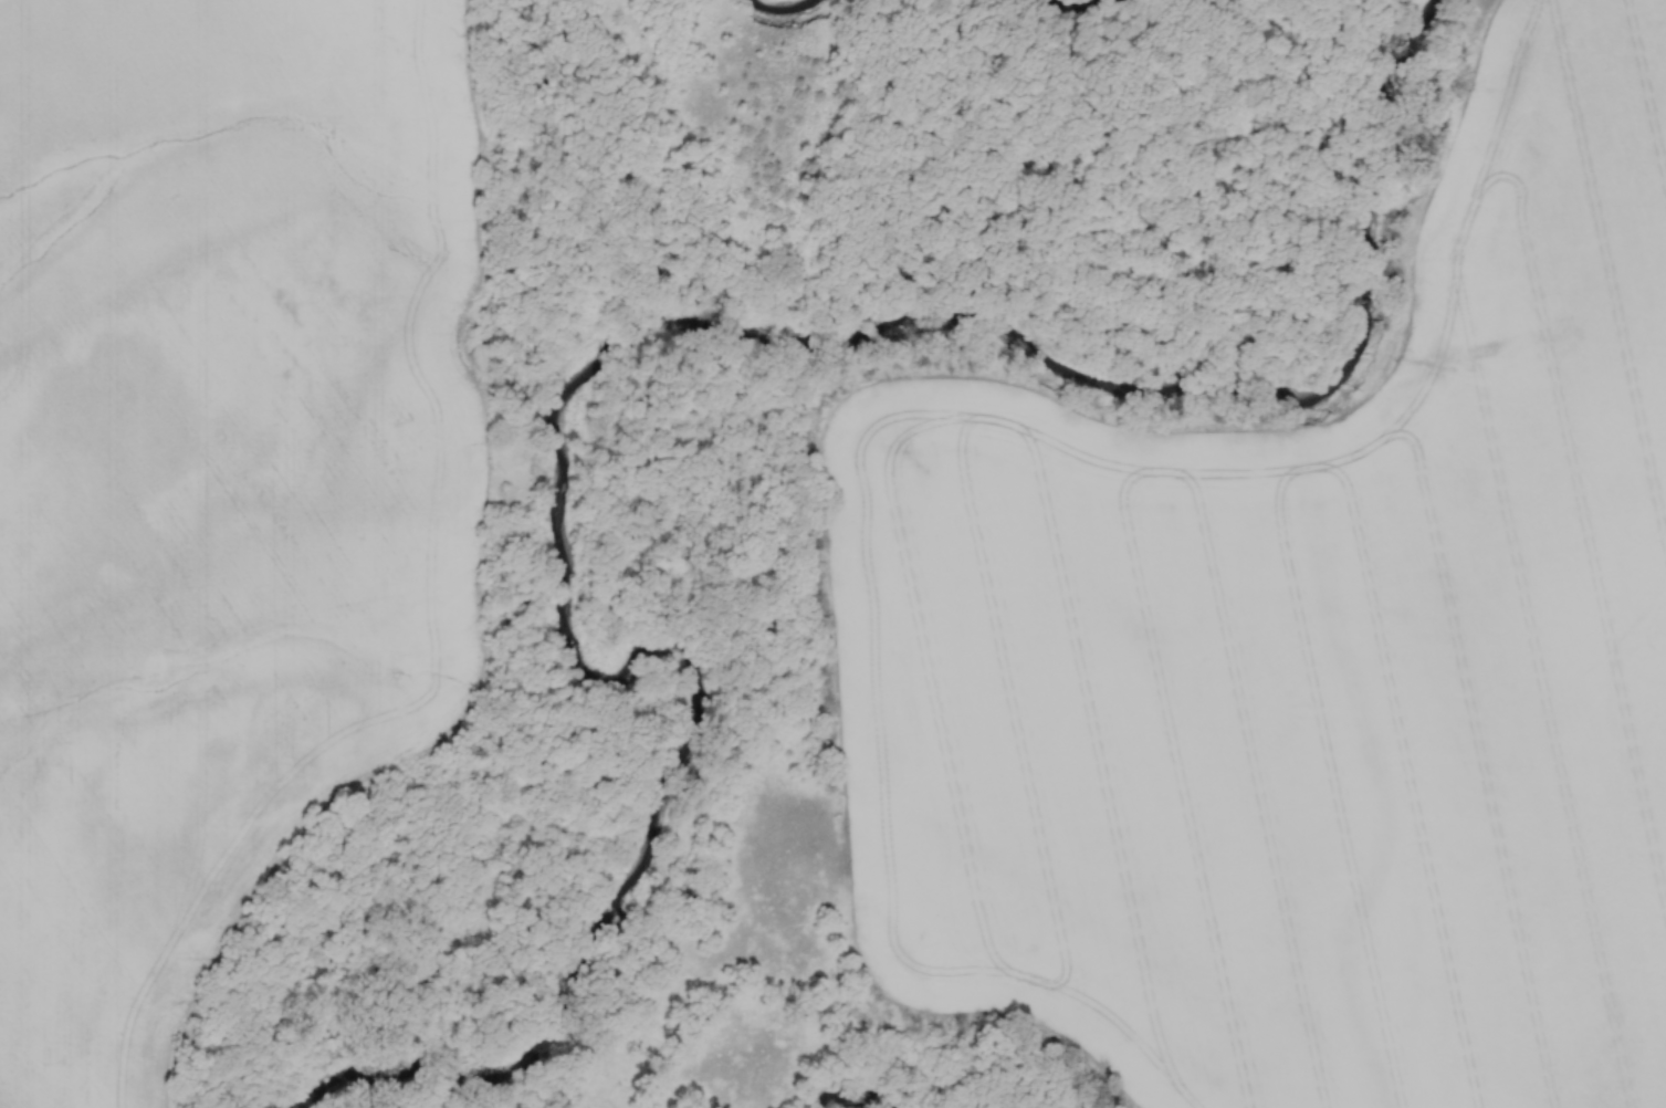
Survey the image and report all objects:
river: (1050, 3)
river: (803, 9)
river: (579, 356)

